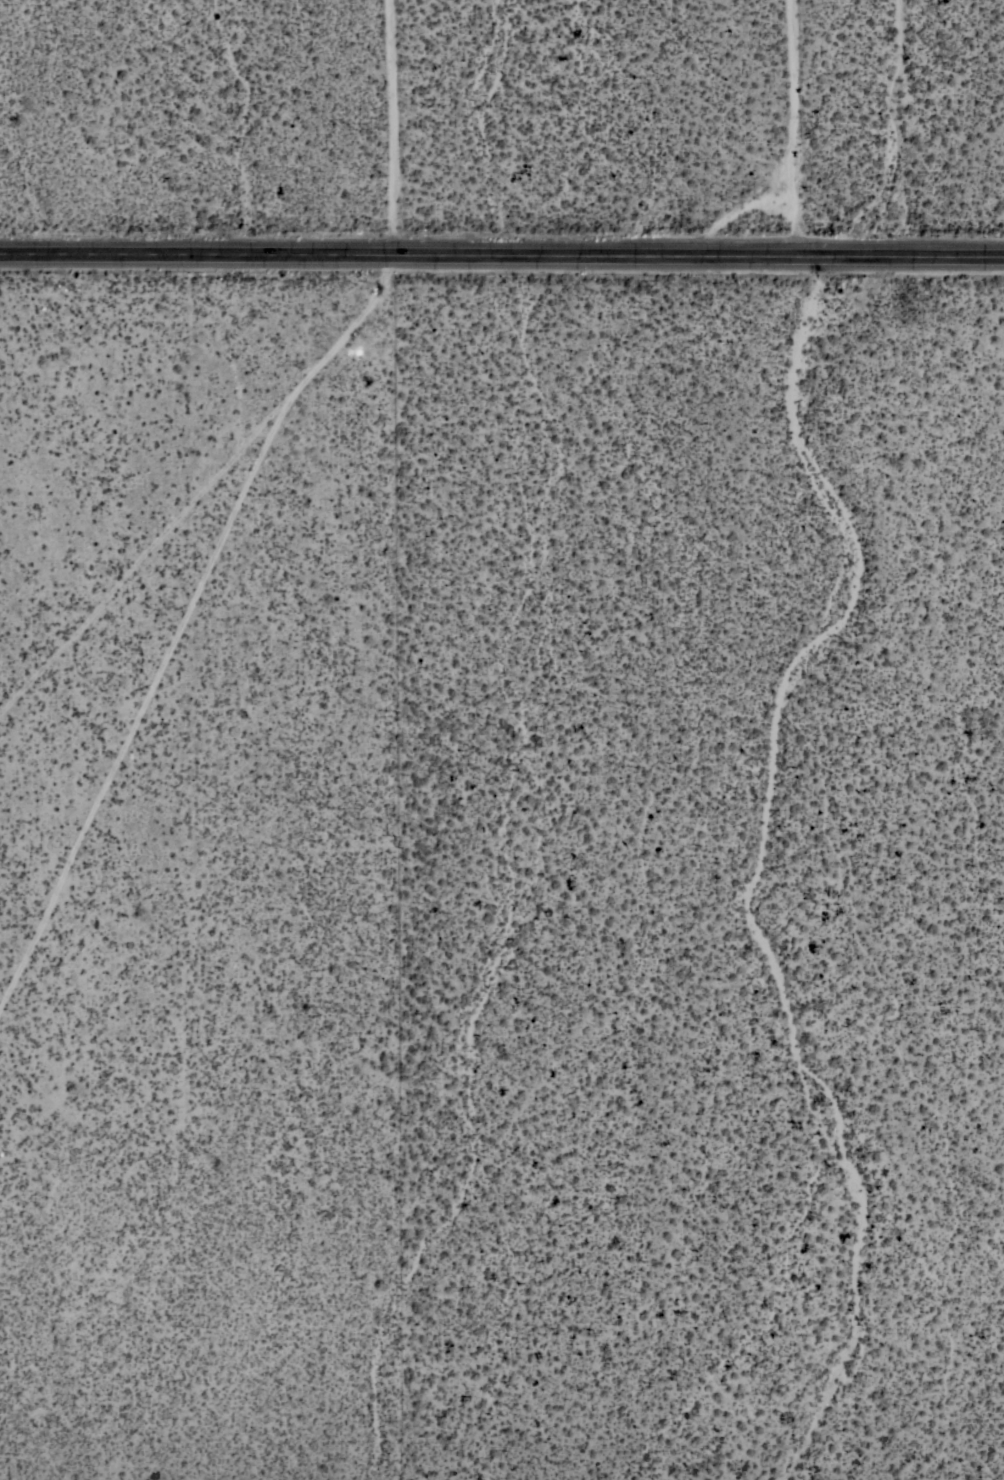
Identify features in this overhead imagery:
road: (393, 128)
road: (795, 128)
road: (415, 256)
road: (840, 257)
road: (927, 257)

